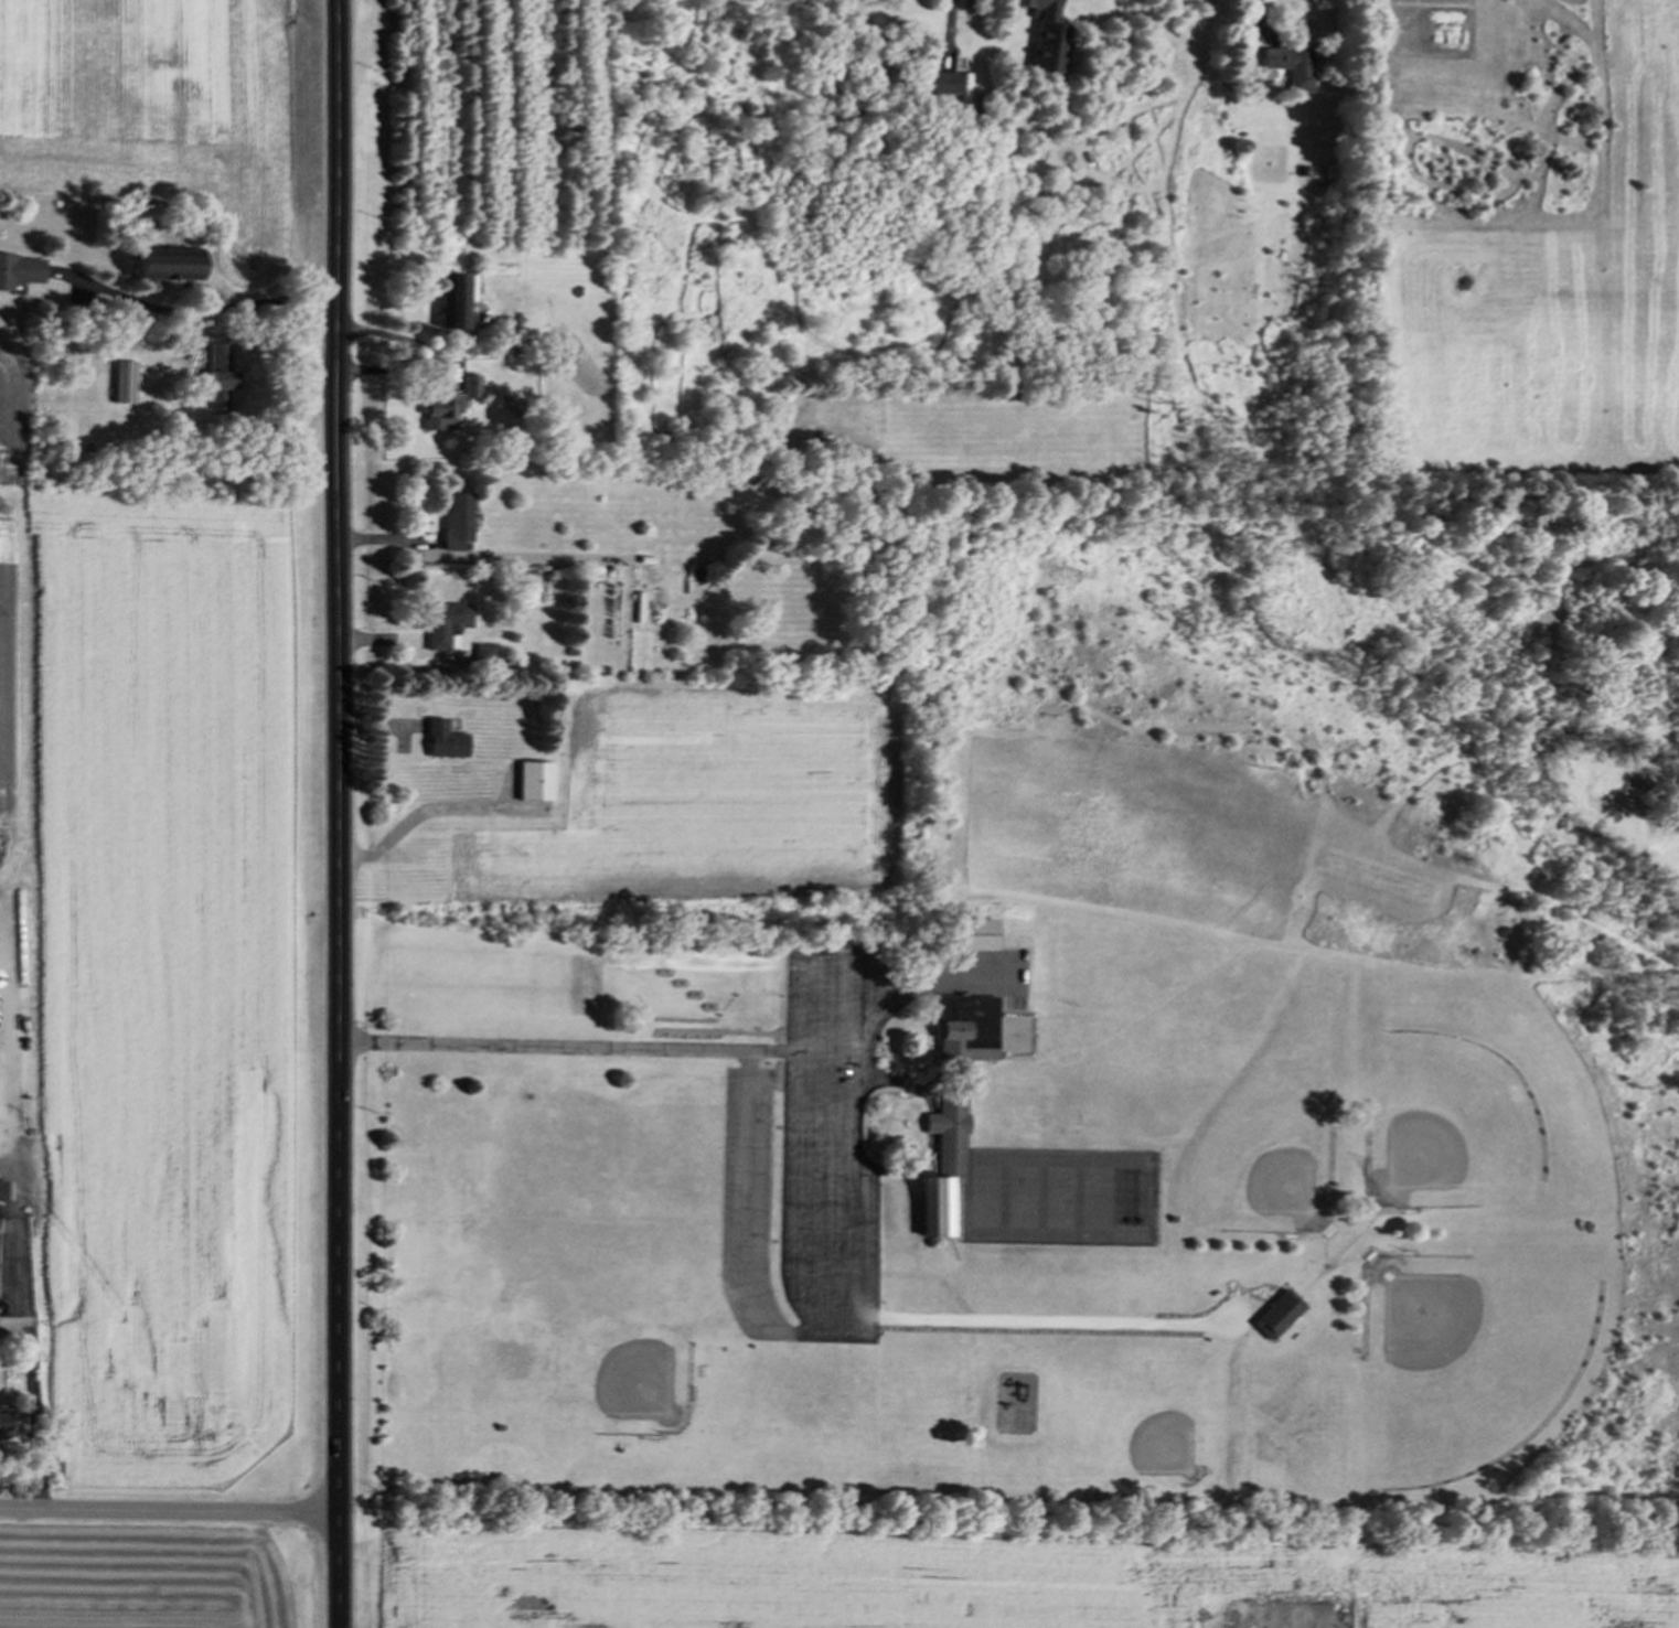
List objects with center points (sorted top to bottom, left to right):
road: (1264, 15)
building: (1042, 38)
building: (1287, 71)
building: (942, 86)
crop: (158, 101)
building: (156, 267)
building: (18, 274)
road: (218, 303)
building: (445, 303)
road: (423, 360)
building: (214, 378)
building: (121, 385)
building: (430, 413)
building: (449, 524)
building: (440, 628)
building: (478, 656)
building: (438, 743)
building: (534, 784)
road: (419, 813)
road: (336, 814)
building: (971, 938)
crop: (161, 955)
road: (677, 1049)
park: (1101, 1072)
park: (1479, 1097)
building: (953, 1101)
park: (1262, 1157)
park: (991, 1193)
park: (1027, 1193)
park: (1063, 1195)
park: (1103, 1196)
park: (1138, 1196)
road: (802, 1202)
building: (1277, 1314)
park: (586, 1317)
road: (28, 1325)
park: (1469, 1358)
park: (1153, 1417)
road: (170, 1513)

